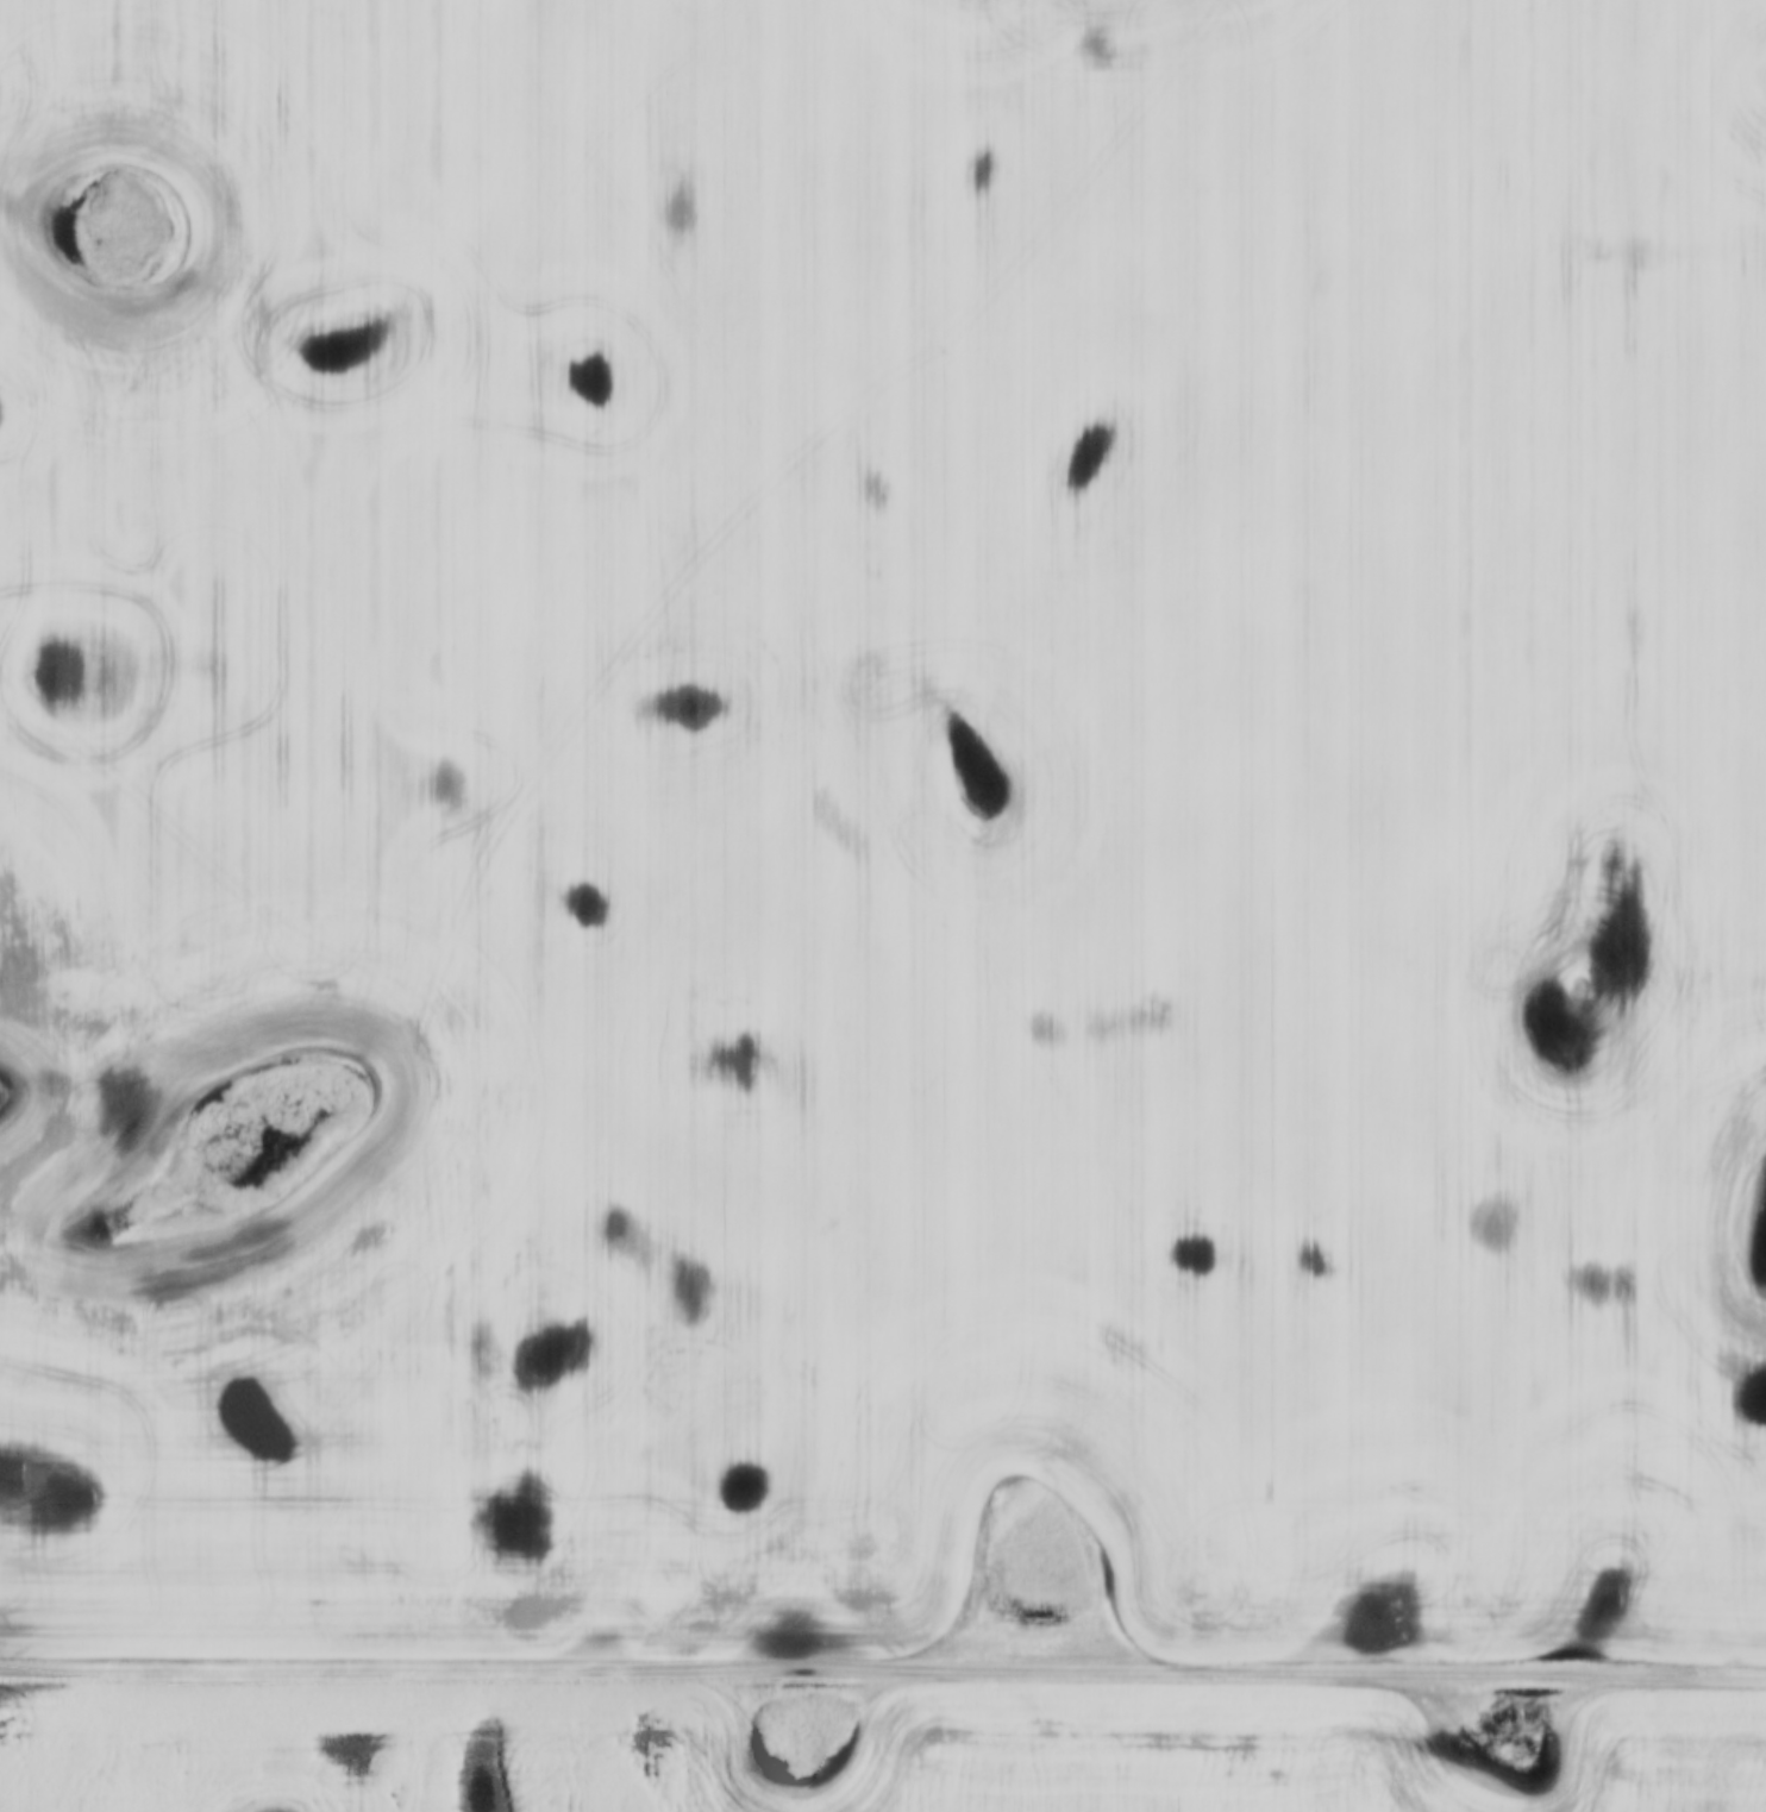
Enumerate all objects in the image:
road: (883, 1670)

